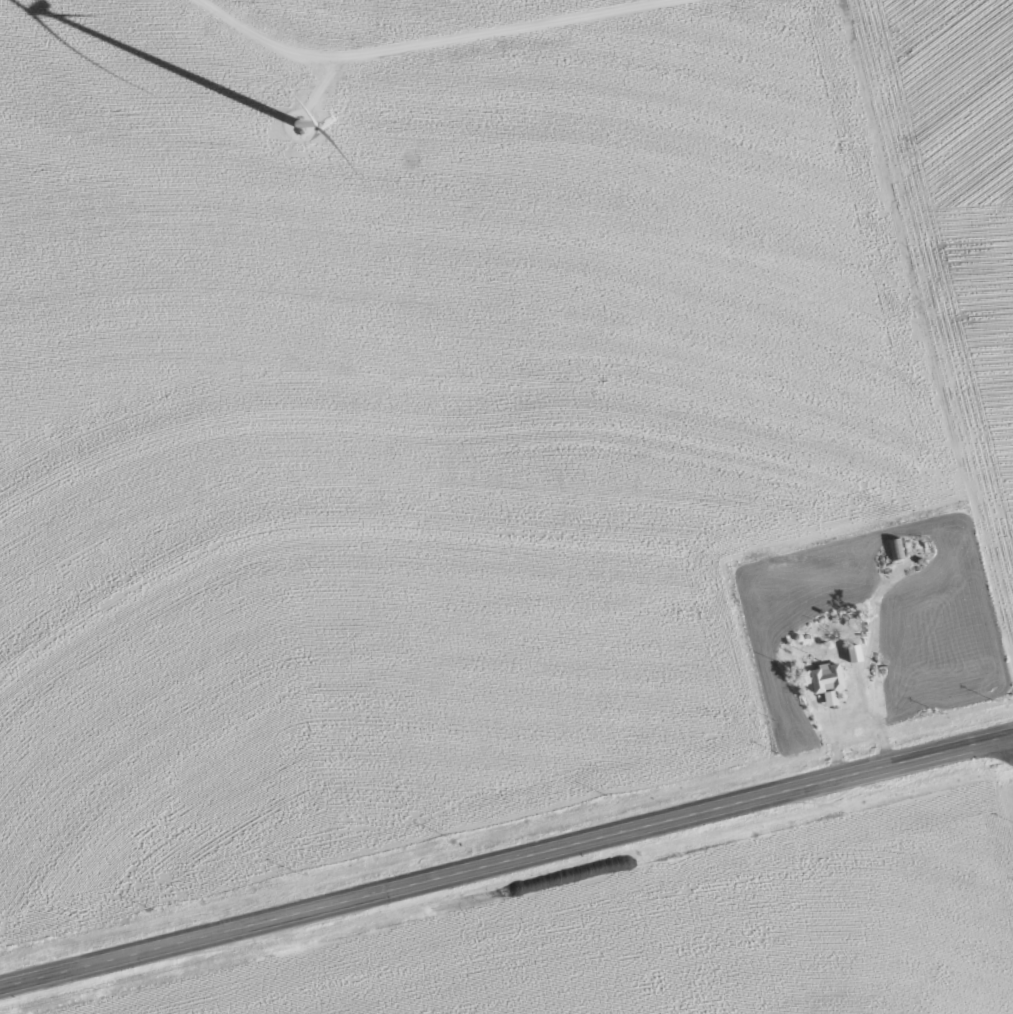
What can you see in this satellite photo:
road: (428, 43)
wind turbine: (319, 115)
building: (855, 652)
road: (506, 858)

